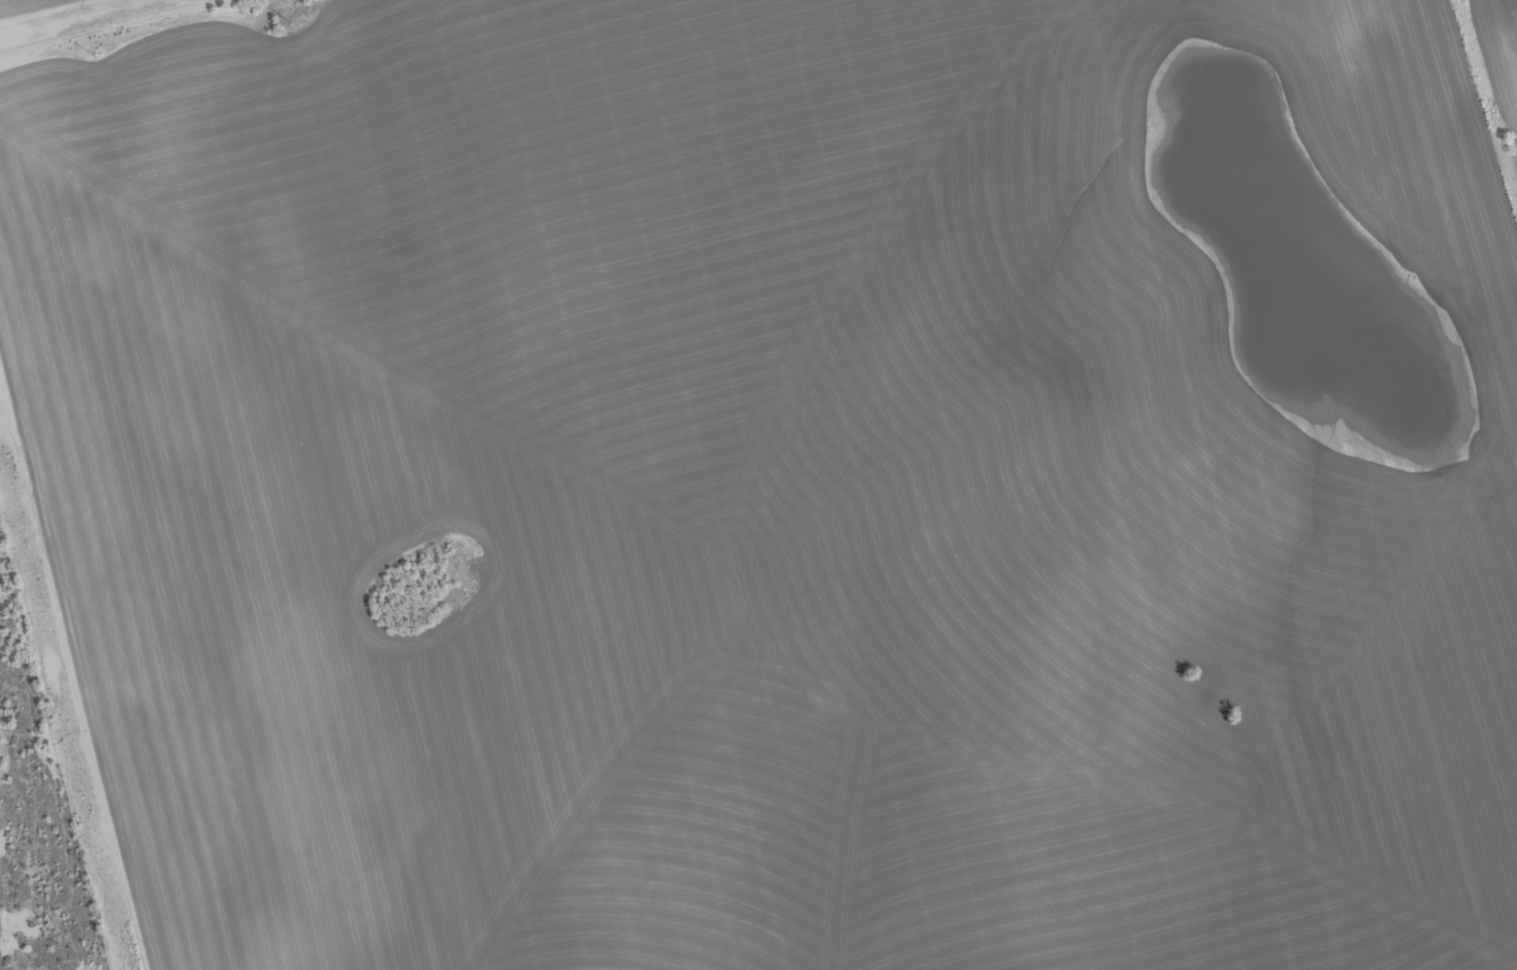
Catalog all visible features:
road: (98, 29)
road: (437, 485)

